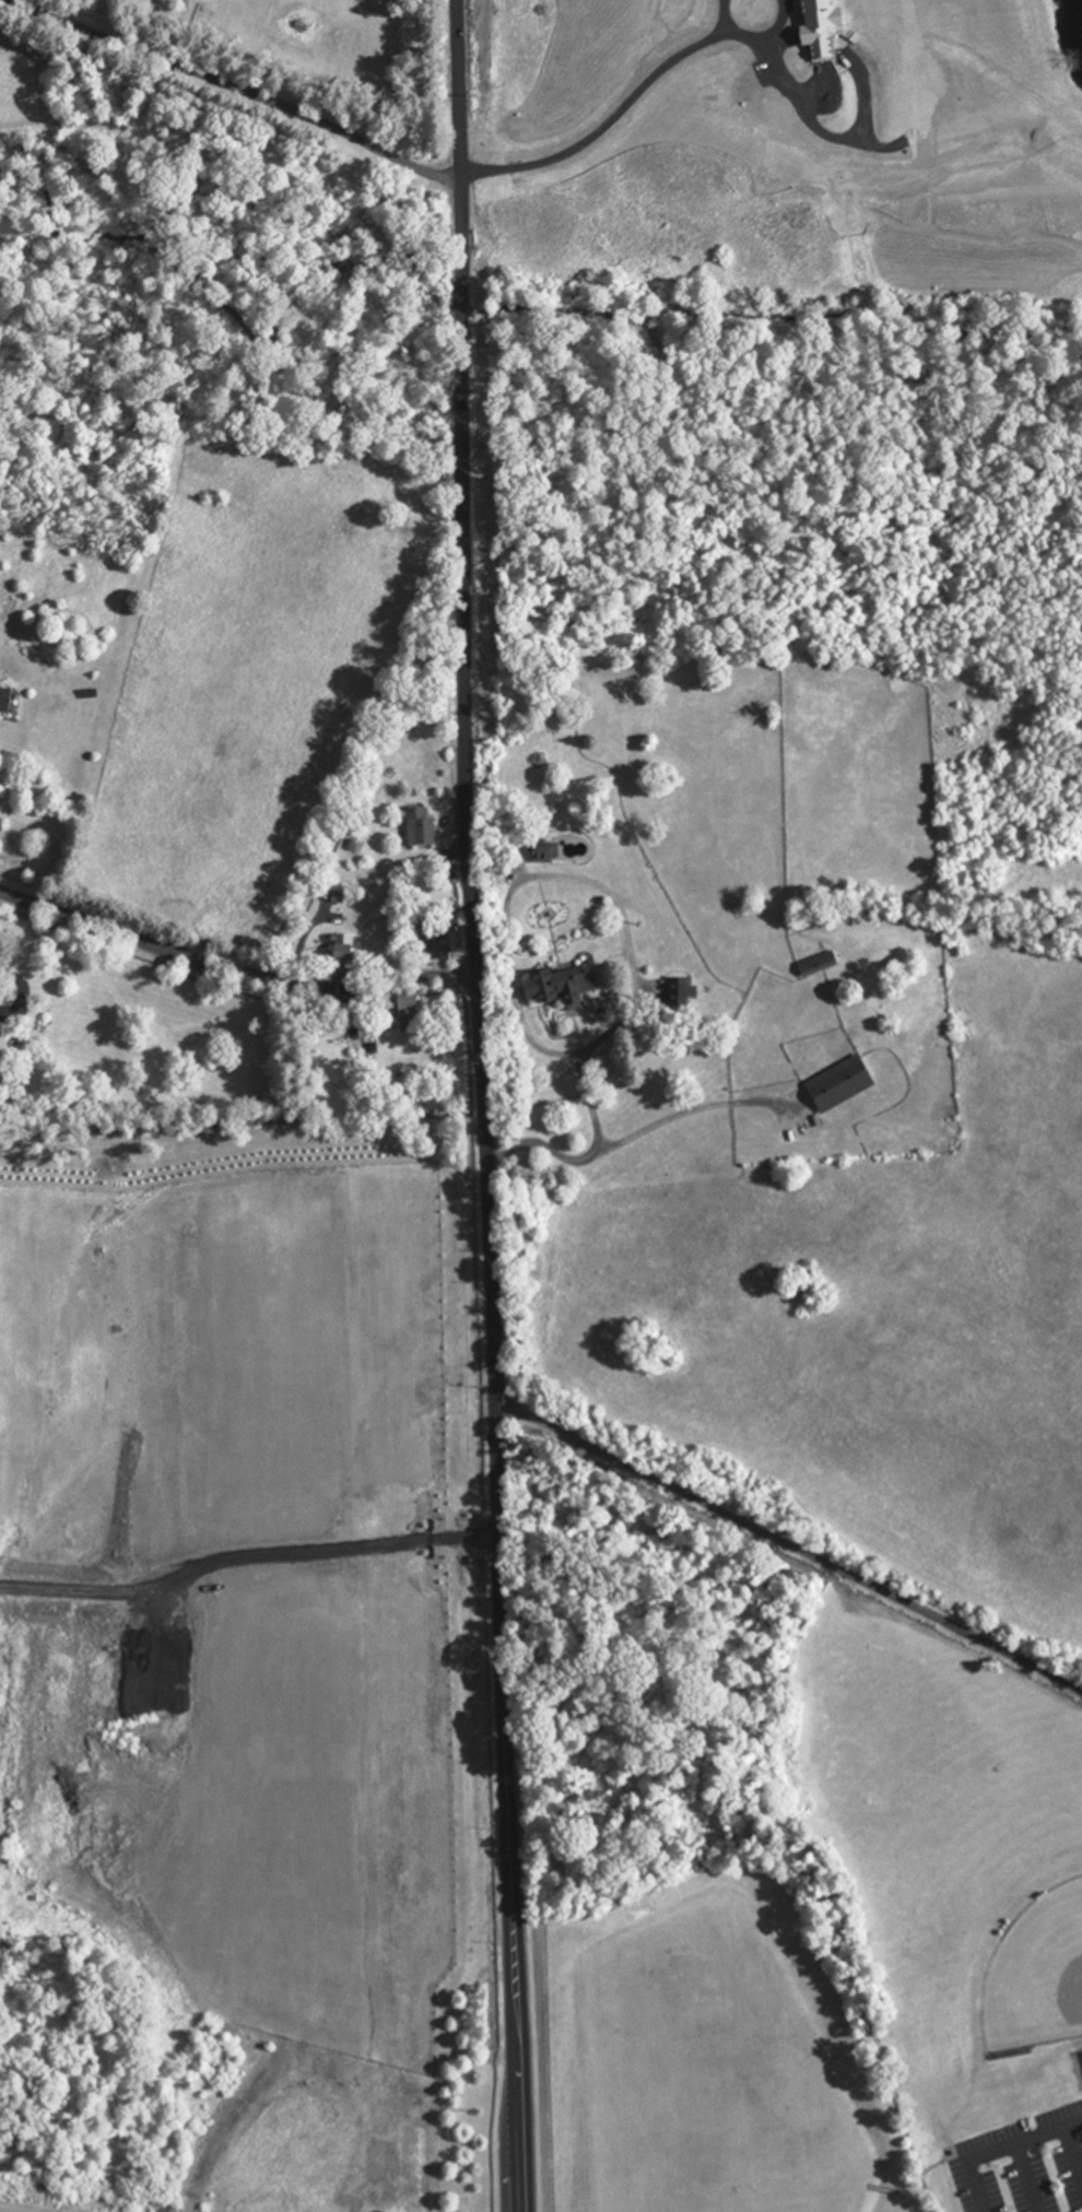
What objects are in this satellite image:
road: (233, 96)
crop: (786, 144)
crop: (246, 670)
building: (8, 699)
building: (419, 827)
building: (542, 850)
crop: (1023, 880)
building: (442, 940)
building: (337, 945)
building: (816, 964)
road: (230, 968)
building: (557, 984)
building: (675, 992)
building: (345, 999)
building: (402, 1005)
building: (413, 1009)
road: (531, 1035)
road: (591, 1046)
building: (838, 1083)
road: (481, 1105)
road: (622, 1142)
crop: (870, 1317)
road: (790, 1542)
road: (246, 1560)
crop: (254, 1610)
park: (840, 1967)
park: (1039, 1968)
park: (739, 2080)
road: (1001, 2153)
road: (919, 2176)
road: (881, 2189)

